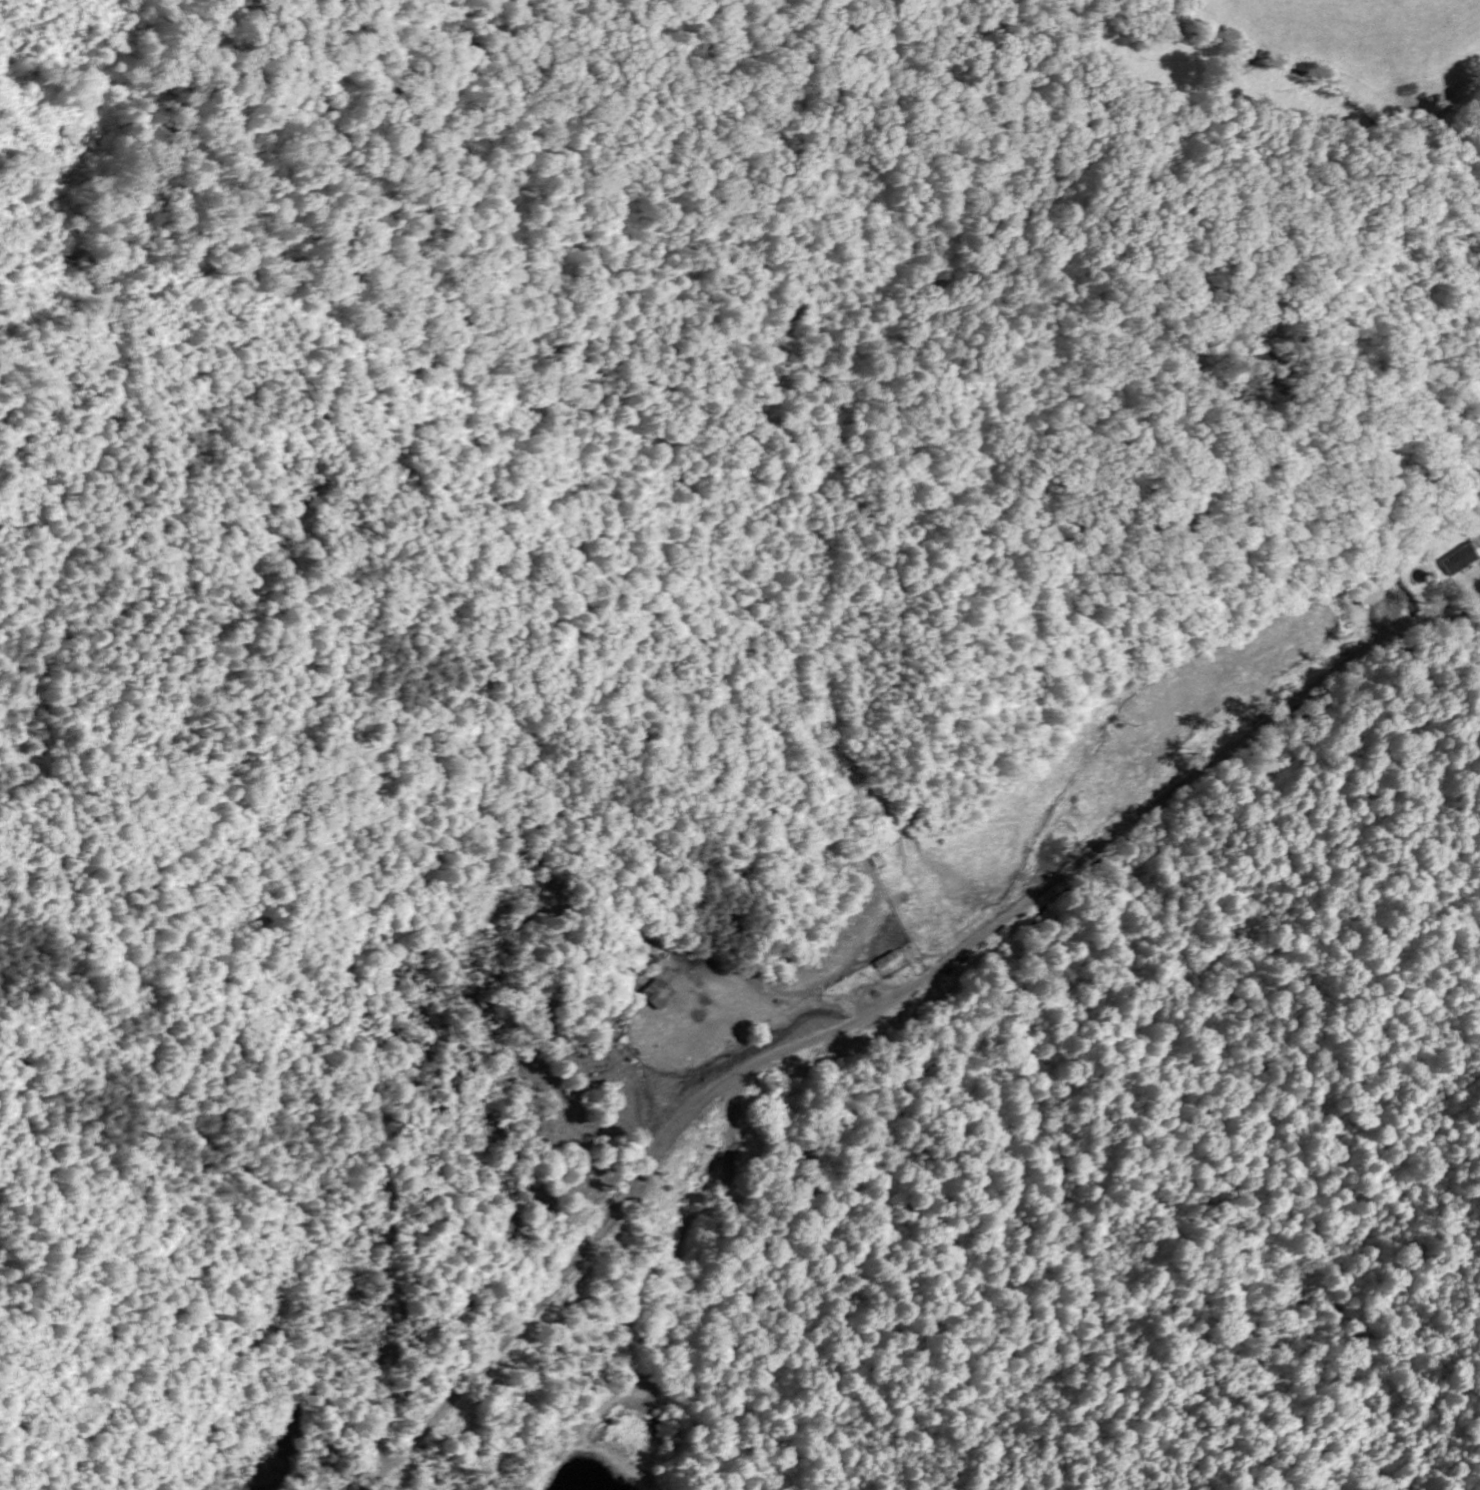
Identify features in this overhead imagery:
building: (1461, 558)
building: (1373, 592)
road: (883, 1006)

